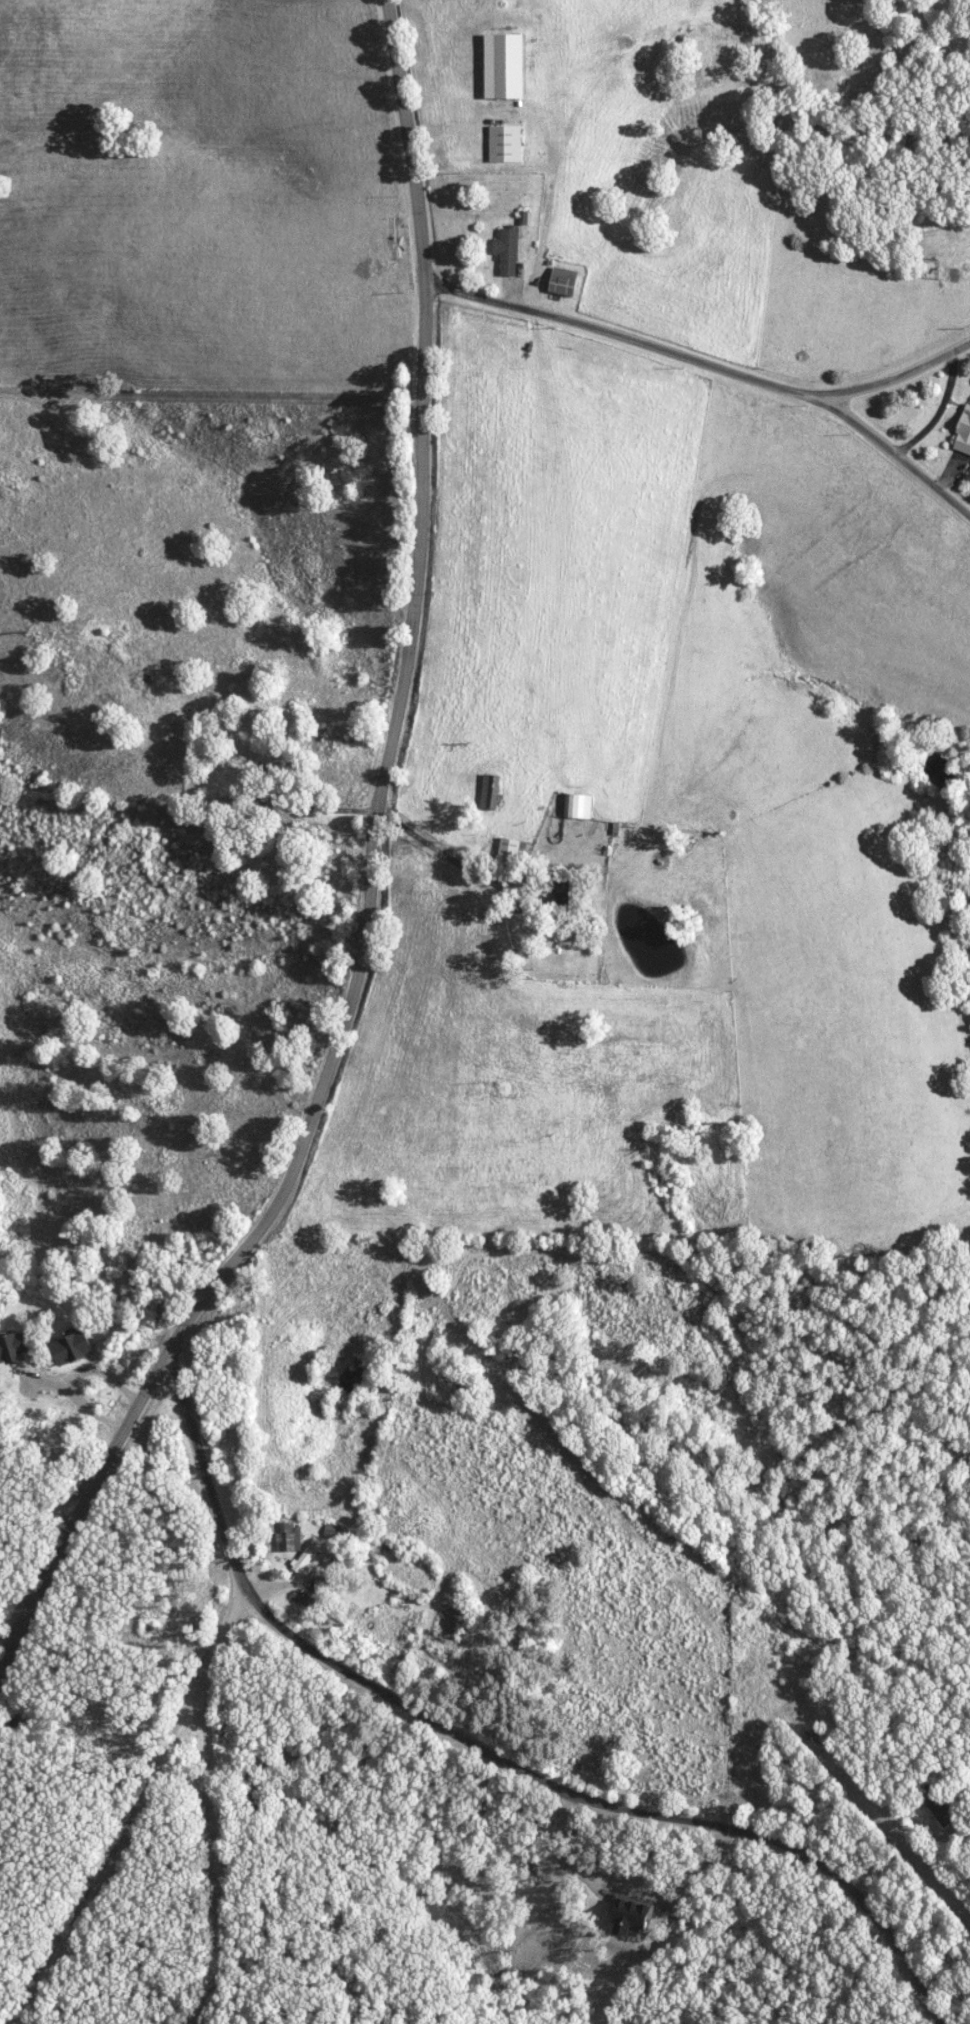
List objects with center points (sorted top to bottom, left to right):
building: (507, 65)
building: (507, 143)
road: (545, 219)
building: (510, 250)
building: (567, 281)
road: (712, 364)
road: (895, 378)
building: (964, 432)
building: (153, 684)
building: (238, 756)
building: (492, 787)
building: (579, 804)
building: (513, 849)
road: (370, 875)
building: (75, 1346)
building: (15, 1347)
building: (291, 1536)
building: (309, 1554)
building: (327, 1585)
road: (496, 1756)
building: (794, 1779)
building: (944, 1811)
building: (635, 1914)

